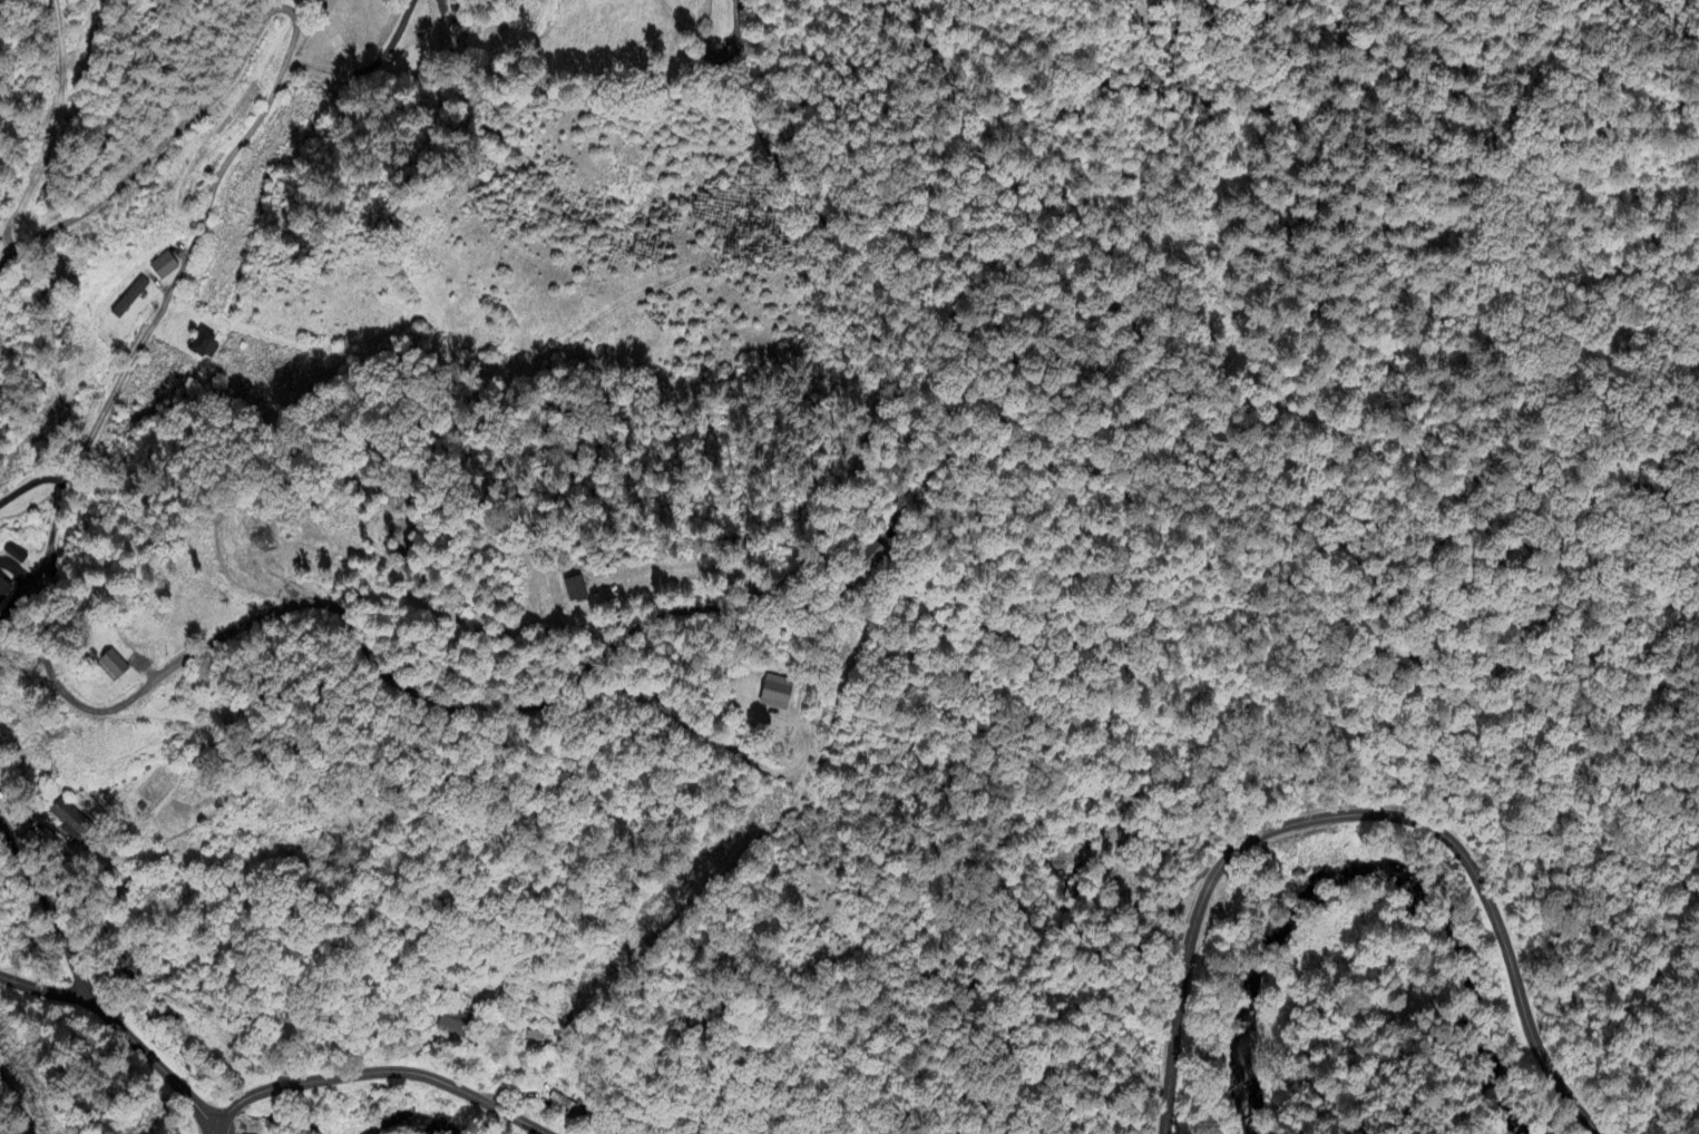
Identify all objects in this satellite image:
building: (717, 61)
road: (72, 218)
road: (20, 248)
building: (165, 266)
building: (130, 297)
road: (159, 314)
building: (205, 344)
road: (940, 421)
road: (32, 482)
building: (875, 554)
building: (576, 589)
building: (3, 590)
road: (360, 648)
building: (115, 664)
building: (778, 693)
road: (1359, 814)
building: (69, 818)
road: (84, 987)
road: (42, 989)
building: (455, 1021)
road: (284, 1085)
road: (459, 1091)
building: (565, 1103)
road: (212, 1130)

